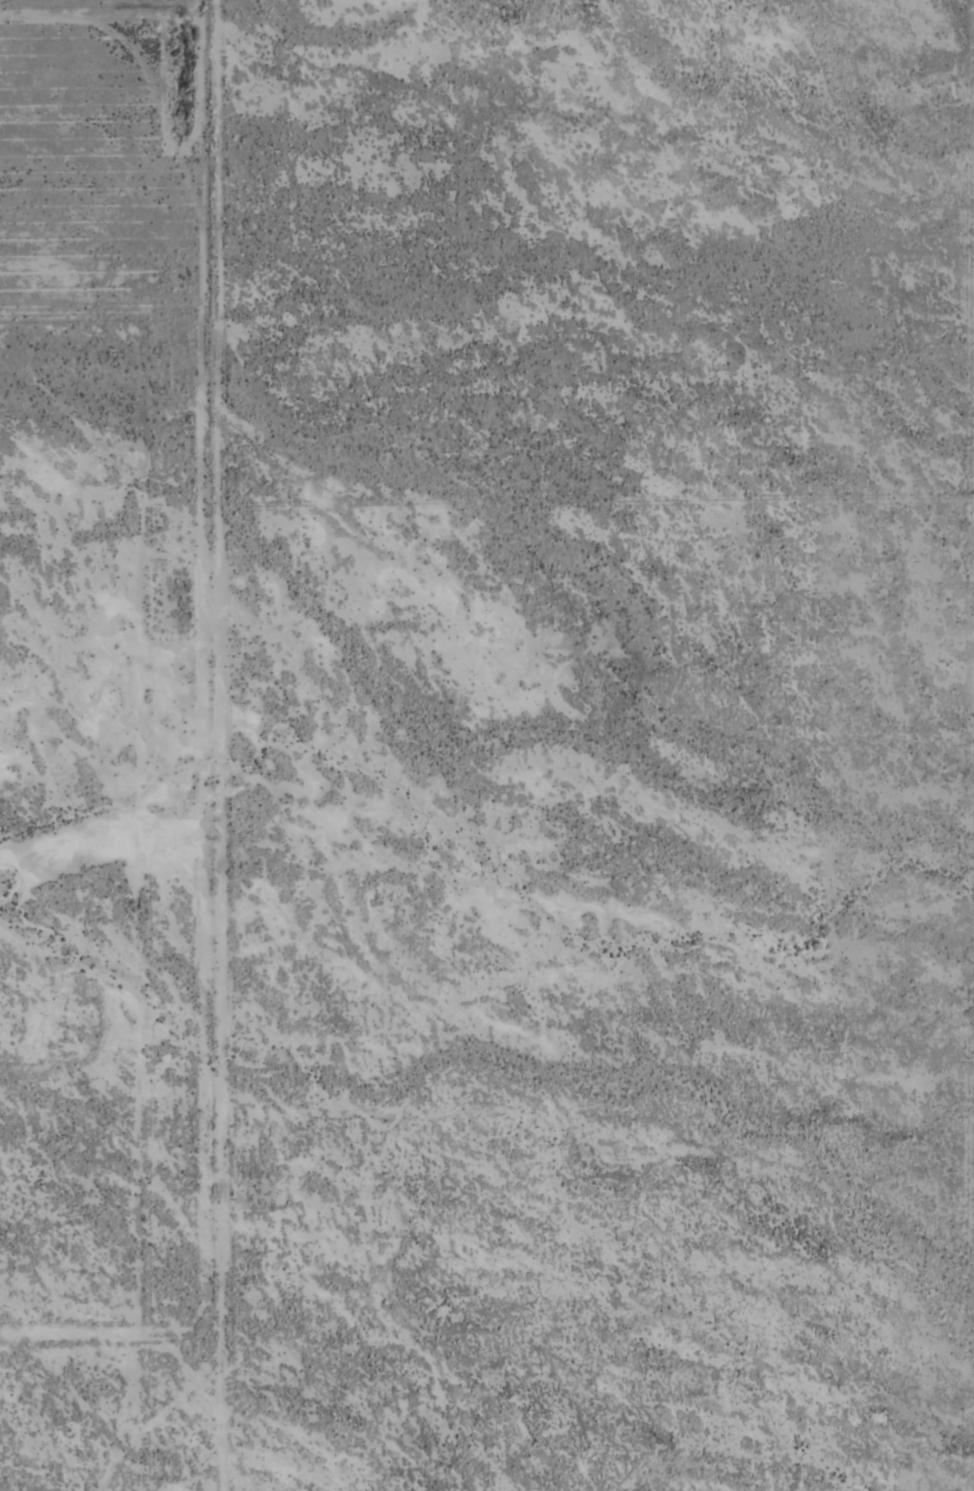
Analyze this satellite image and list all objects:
airport runway: (62, 843)
airport taxiway: (85, 1331)

